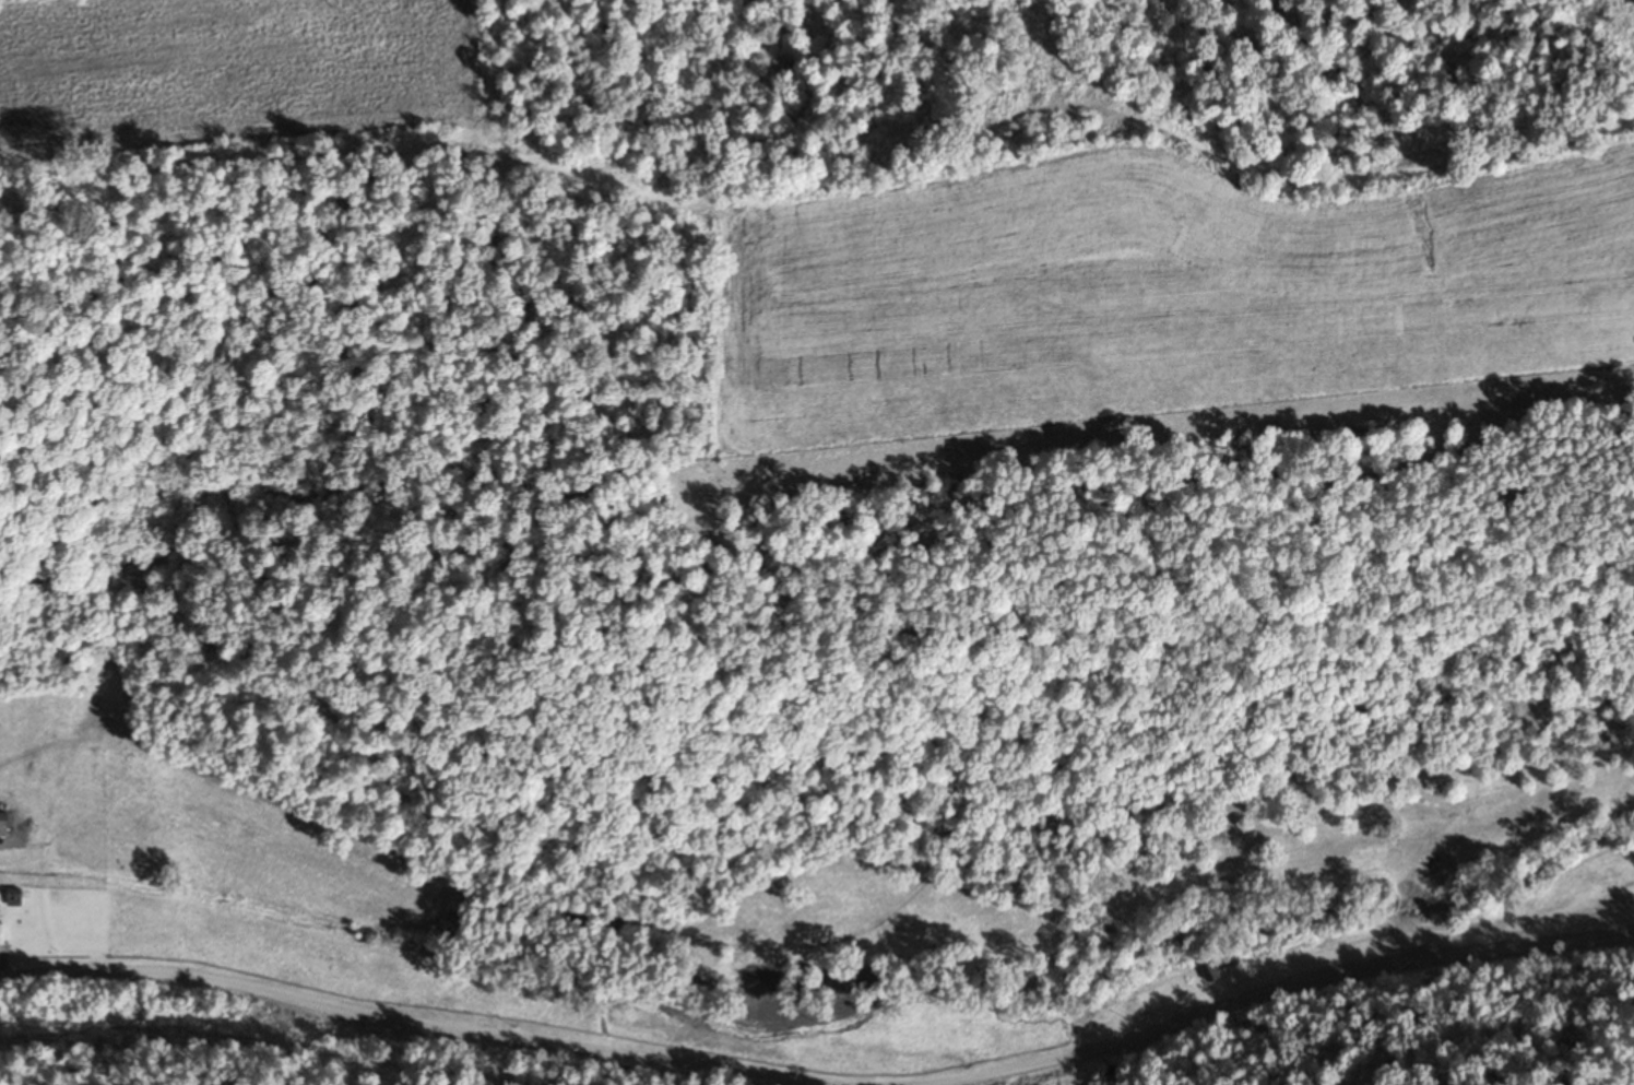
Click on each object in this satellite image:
building: (2, 818)
building: (1614, 874)
road: (514, 970)
building: (1210, 974)
road: (1279, 991)
road: (405, 1027)

